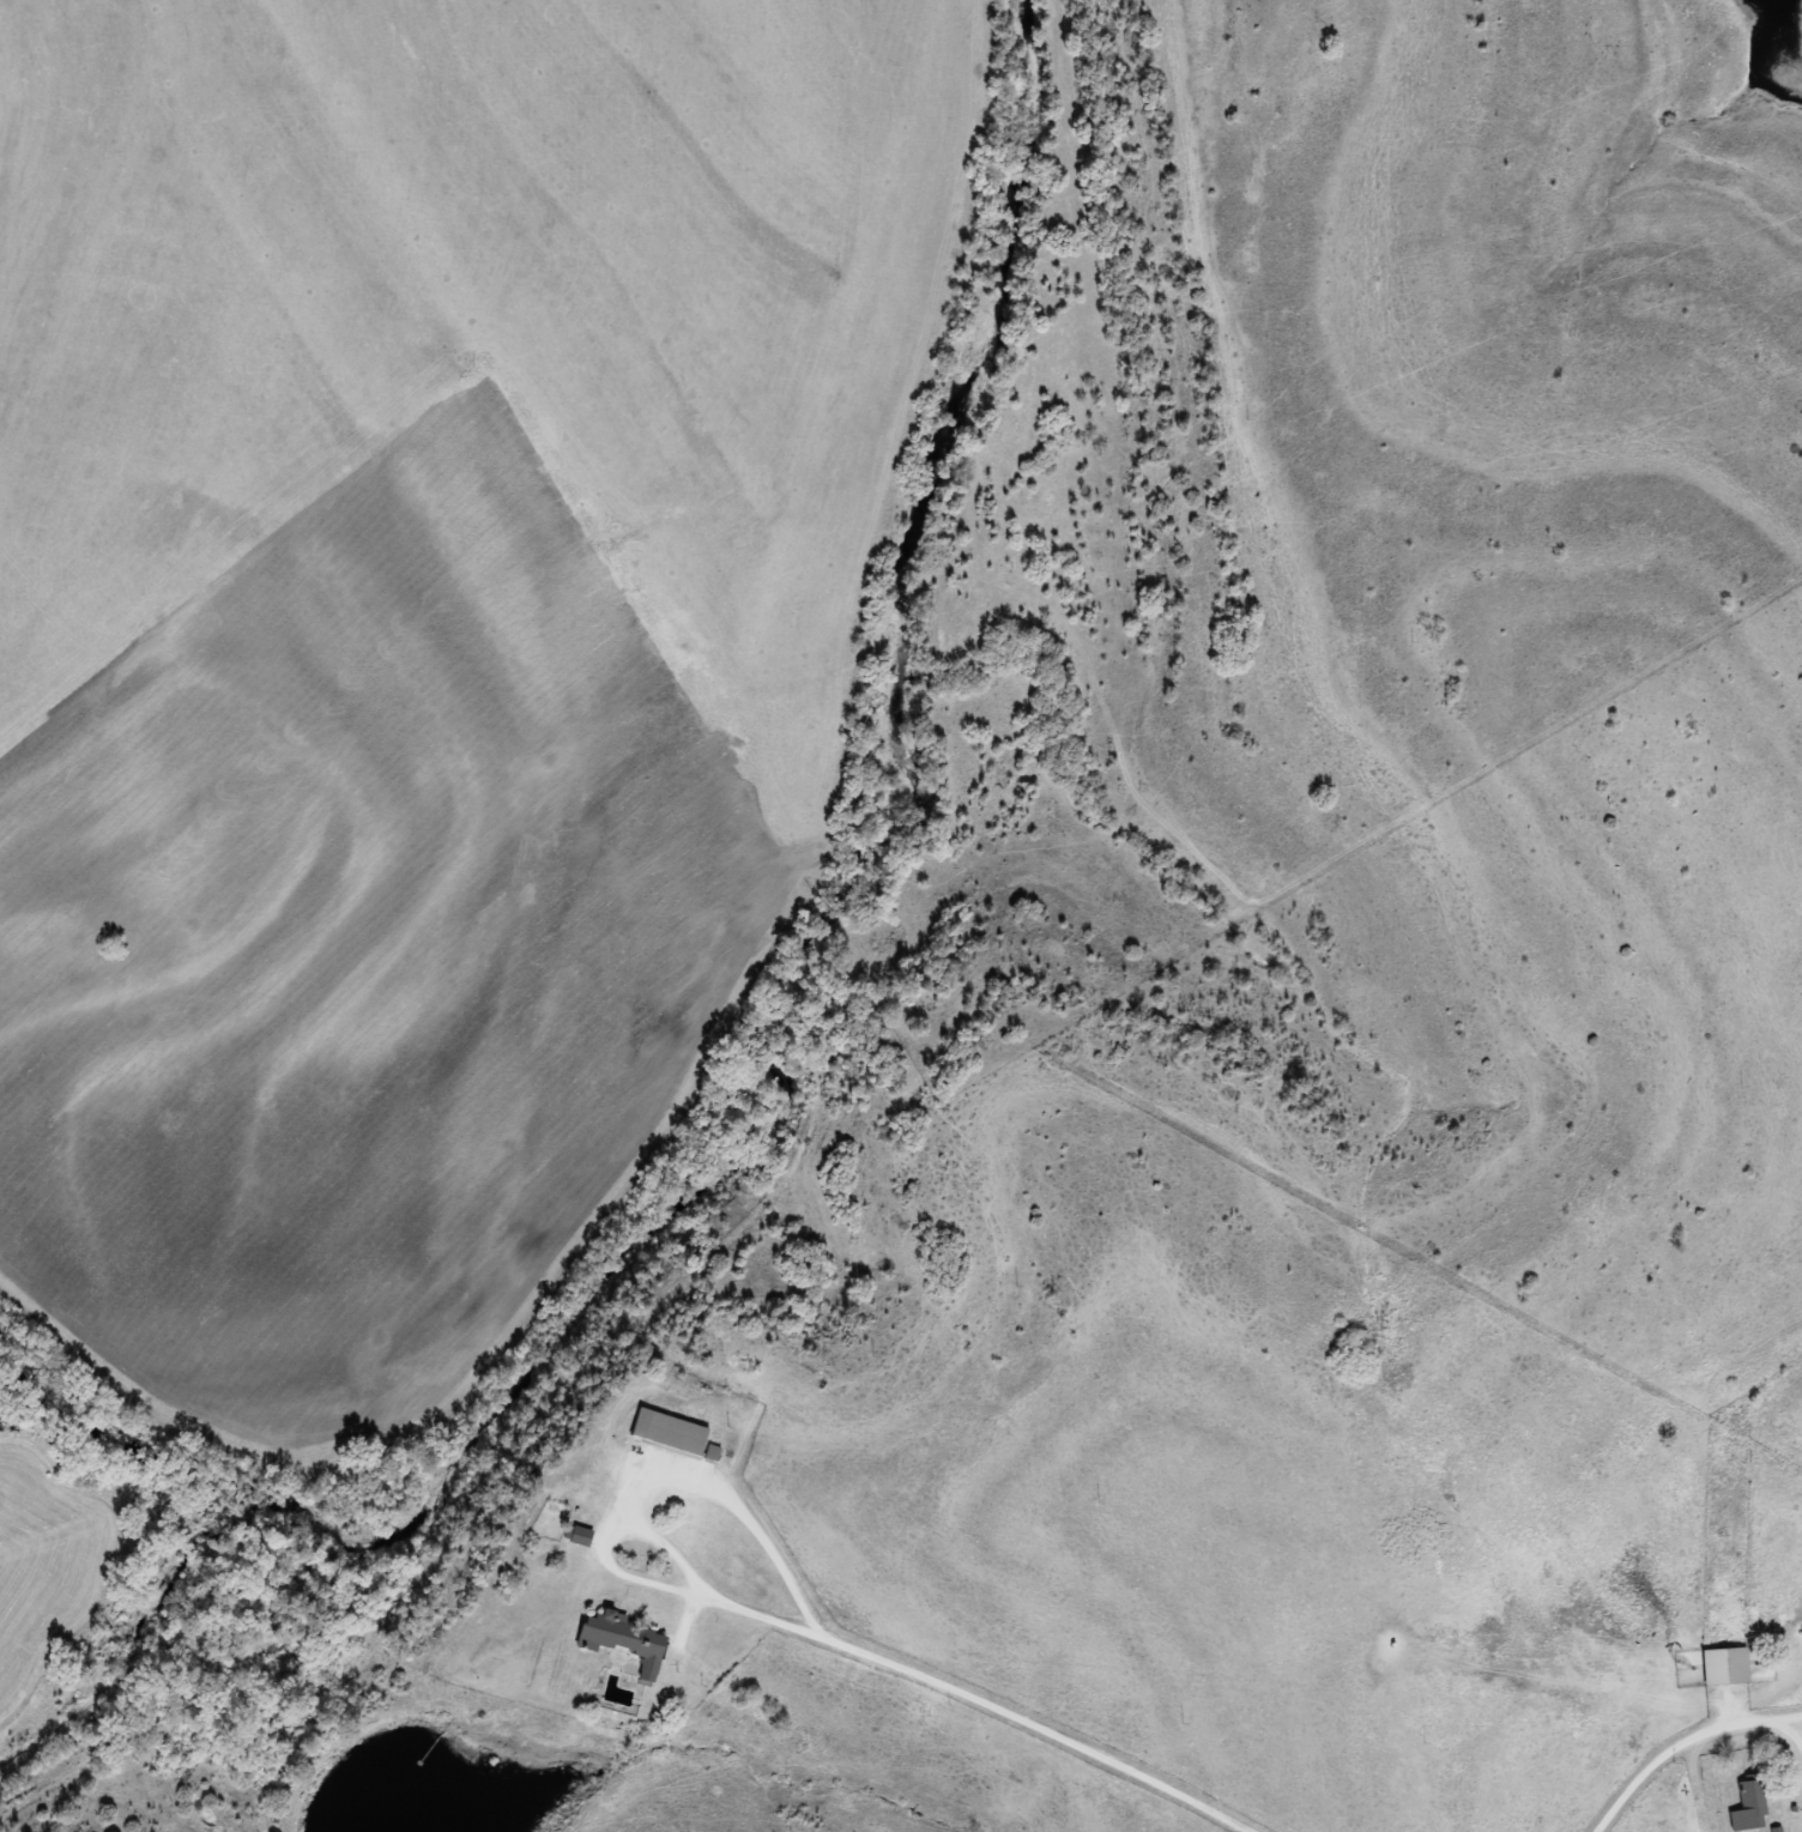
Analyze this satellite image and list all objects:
building: (669, 1435)
building: (580, 1536)
building: (625, 1641)
building: (1724, 1667)
road: (933, 1674)
road: (1788, 1716)
road: (1691, 1740)
building: (1748, 1806)

